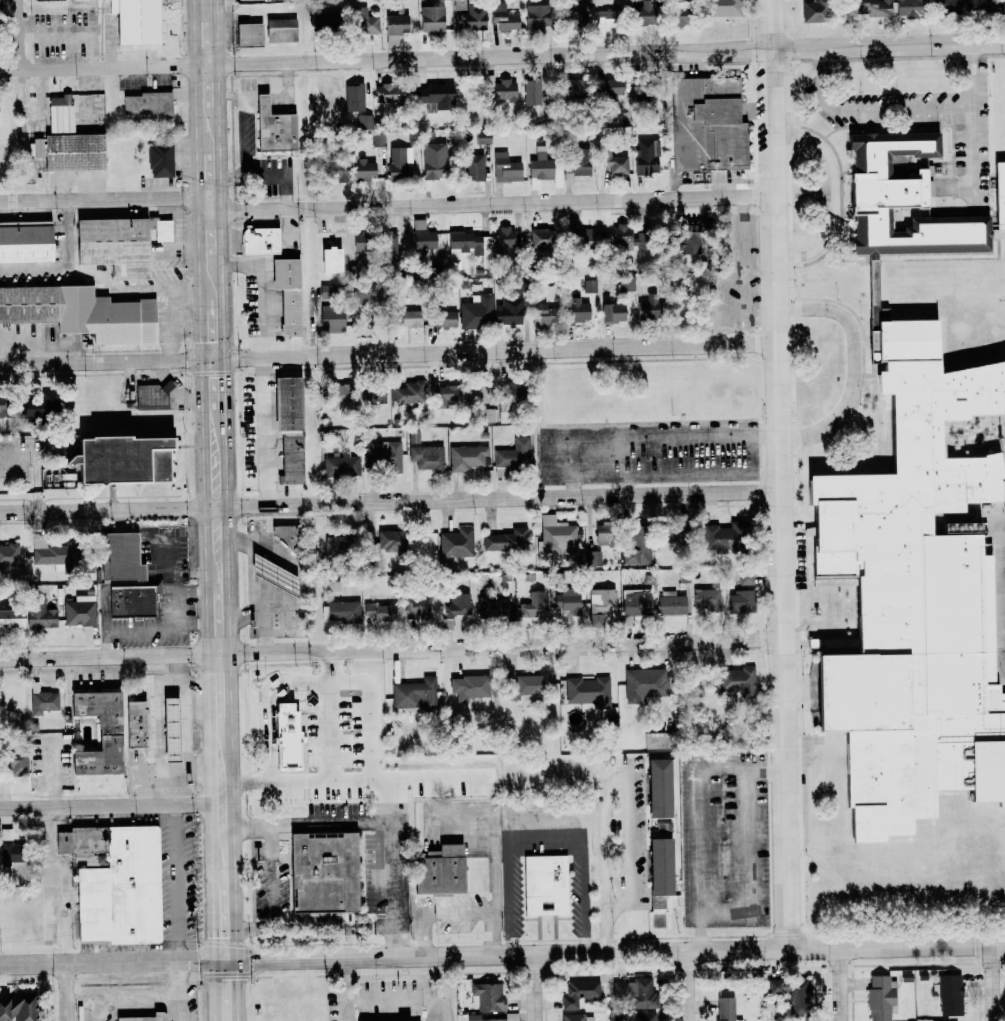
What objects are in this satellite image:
building: (949, 4)
building: (981, 6)
building: (873, 7)
building: (721, 8)
building: (907, 8)
road: (193, 9)
building: (1004, 10)
building: (814, 11)
building: (643, 12)
building: (679, 13)
building: (473, 16)
building: (503, 17)
building: (535, 17)
building: (431, 18)
building: (576, 18)
building: (364, 21)
building: (604, 21)
building: (396, 24)
building: (280, 30)
road: (219, 32)
road: (17, 33)
building: (248, 34)
building: (392, 40)
road: (195, 42)
road: (600, 53)
road: (97, 66)
road: (221, 86)
road: (289, 87)
building: (570, 87)
building: (609, 88)
building: (501, 90)
building: (531, 91)
building: (385, 92)
building: (435, 95)
building: (353, 97)
road: (265, 102)
building: (147, 103)
road: (251, 104)
road: (197, 109)
road: (868, 110)
building: (59, 114)
road: (973, 119)
building: (364, 121)
building: (709, 125)
road: (244, 127)
building: (276, 127)
building: (483, 137)
building: (378, 139)
building: (34, 148)
building: (72, 152)
road: (221, 152)
building: (644, 157)
building: (159, 160)
building: (434, 160)
building: (399, 162)
building: (613, 162)
building: (474, 167)
building: (505, 168)
building: (545, 168)
building: (576, 169)
building: (363, 170)
road: (199, 174)
building: (339, 175)
road: (267, 177)
road: (100, 195)
road: (836, 195)
building: (910, 202)
road: (487, 205)
road: (222, 226)
building: (162, 230)
building: (422, 236)
building: (539, 238)
building: (586, 238)
building: (688, 238)
building: (503, 239)
building: (624, 239)
building: (259, 240)
building: (25, 241)
building: (463, 244)
building: (114, 245)
building: (388, 247)
building: (486, 249)
road: (201, 253)
building: (330, 260)
road: (34, 269)
road: (101, 278)
building: (626, 283)
building: (589, 286)
road: (262, 292)
building: (287, 293)
road: (223, 306)
building: (647, 308)
building: (508, 311)
building: (576, 311)
building: (477, 312)
building: (81, 313)
building: (612, 313)
building: (540, 315)
building: (442, 318)
building: (332, 319)
building: (408, 319)
road: (171, 326)
road: (202, 335)
road: (489, 350)
road: (101, 363)
road: (856, 364)
road: (226, 388)
building: (477, 392)
building: (339, 393)
building: (372, 393)
building: (407, 393)
building: (514, 393)
building: (443, 395)
building: (152, 396)
building: (39, 404)
building: (487, 415)
building: (288, 427)
road: (265, 430)
building: (413, 436)
building: (386, 454)
building: (514, 454)
building: (124, 457)
building: (427, 457)
building: (466, 457)
road: (542, 458)
building: (341, 465)
road: (780, 474)
road: (203, 478)
road: (626, 485)
road: (573, 486)
road: (491, 497)
road: (102, 507)
road: (229, 535)
building: (289, 535)
building: (557, 535)
building: (602, 536)
building: (717, 538)
building: (506, 541)
building: (337, 543)
building: (456, 543)
building: (387, 544)
building: (636, 548)
building: (53, 554)
building: (9, 555)
building: (122, 555)
building: (593, 559)
building: (276, 573)
building: (742, 594)
building: (913, 597)
building: (134, 600)
building: (706, 600)
building: (567, 601)
building: (637, 602)
building: (601, 604)
building: (671, 604)
building: (417, 608)
building: (531, 608)
building: (492, 609)
building: (79, 611)
building: (379, 611)
building: (340, 612)
building: (456, 612)
building: (40, 614)
building: (11, 618)
road: (208, 626)
road: (495, 645)
road: (104, 657)
road: (232, 678)
building: (736, 681)
road: (182, 683)
building: (644, 685)
building: (530, 686)
building: (354, 687)
building: (469, 687)
building: (589, 691)
building: (414, 694)
building: (43, 700)
building: (359, 705)
building: (134, 724)
building: (168, 730)
building: (98, 733)
road: (163, 739)
building: (657, 741)
building: (15, 763)
road: (188, 771)
road: (213, 773)
road: (396, 787)
building: (658, 788)
road: (630, 797)
road: (118, 803)
road: (700, 817)
road: (316, 825)
road: (548, 828)
road: (236, 830)
building: (8, 846)
building: (439, 870)
building: (322, 872)
building: (659, 872)
road: (496, 877)
building: (115, 882)
road: (178, 882)
road: (47, 885)
building: (545, 885)
road: (440, 913)
road: (214, 926)
traffic signals: (215, 936)
road: (656, 950)
road: (272, 958)
traffic signals: (258, 959)
road: (227, 960)
traffic signals: (198, 961)
road: (172, 962)
road: (64, 965)
traffic signals: (238, 979)
road: (992, 982)
road: (843, 984)
road: (690, 985)
road: (536, 987)
road: (348, 989)
road: (238, 990)
road: (181, 991)
road: (216, 991)
building: (636, 992)
road: (68, 993)
building: (579, 993)
building: (790, 993)
building: (949, 994)
building: (487, 997)
building: (880, 997)
road: (418, 998)
building: (748, 998)
building: (18, 1007)
road: (447, 1009)
building: (725, 1009)
building: (474, 1016)
building: (645, 1016)
building: (148, 1017)
building: (573, 1017)

